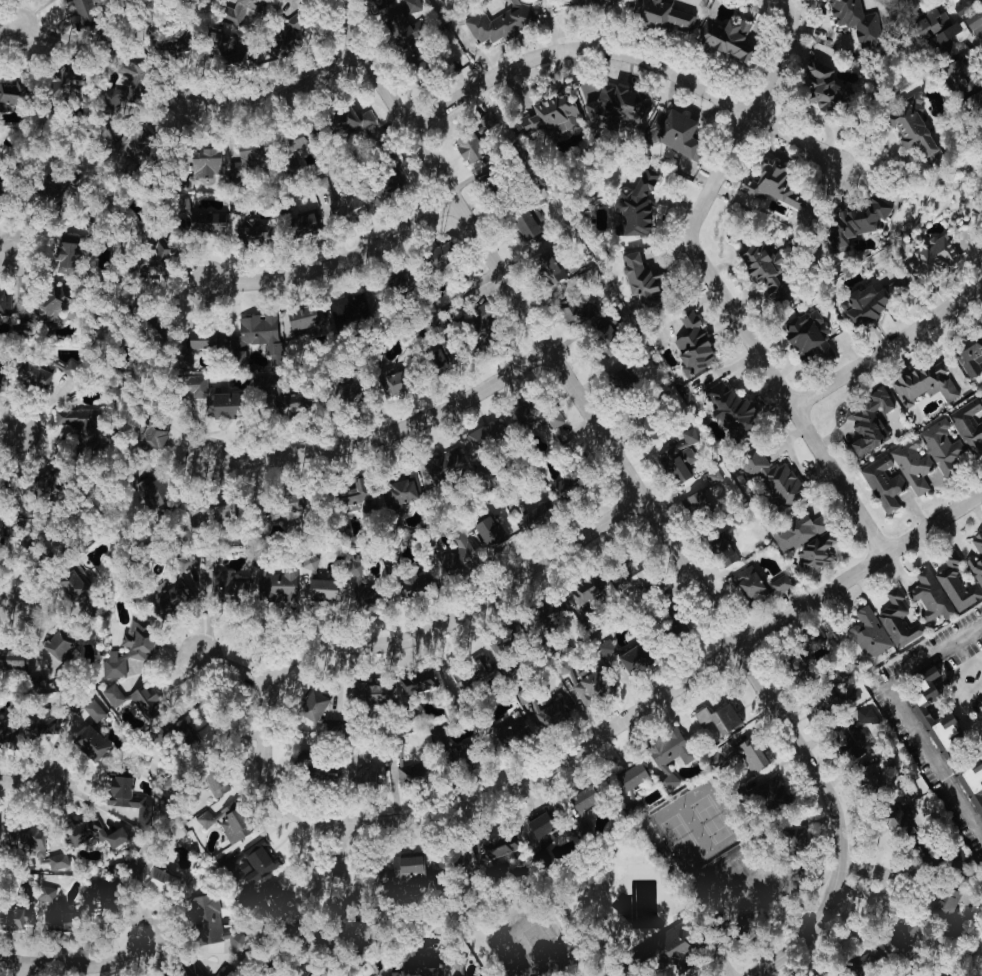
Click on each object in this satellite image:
building: (383, 2)
building: (964, 6)
building: (81, 8)
road: (828, 13)
building: (664, 14)
road: (10, 19)
building: (857, 19)
building: (405, 21)
building: (502, 21)
building: (930, 22)
building: (233, 23)
building: (975, 24)
building: (288, 33)
building: (727, 38)
road: (837, 38)
building: (946, 39)
road: (512, 44)
road: (476, 47)
building: (128, 67)
road: (688, 73)
building: (966, 87)
road: (277, 91)
building: (832, 91)
building: (12, 93)
building: (123, 93)
building: (618, 106)
building: (490, 122)
building: (354, 123)
building: (981, 125)
building: (910, 127)
building: (676, 132)
building: (980, 136)
building: (134, 143)
building: (469, 146)
building: (249, 153)
building: (206, 162)
building: (768, 189)
building: (337, 199)
building: (637, 204)
building: (530, 215)
building: (198, 218)
building: (306, 222)
building: (854, 224)
building: (256, 230)
road: (9, 250)
building: (159, 252)
building: (441, 255)
building: (68, 257)
building: (929, 260)
building: (548, 266)
road: (334, 267)
building: (640, 277)
building: (768, 280)
road: (714, 283)
building: (51, 300)
building: (5, 301)
building: (865, 304)
building: (347, 309)
building: (577, 312)
building: (306, 316)
building: (262, 331)
building: (806, 337)
building: (200, 338)
road: (886, 345)
building: (691, 348)
building: (968, 352)
building: (237, 356)
building: (434, 358)
building: (38, 377)
building: (1, 380)
building: (924, 383)
building: (211, 395)
building: (980, 397)
building: (555, 418)
building: (867, 420)
building: (79, 425)
road: (10, 427)
building: (968, 429)
building: (643, 430)
building: (154, 435)
road: (385, 435)
building: (484, 436)
building: (738, 446)
building: (940, 448)
building: (677, 458)
building: (447, 465)
building: (911, 465)
building: (711, 477)
building: (881, 484)
building: (567, 488)
building: (7, 489)
road: (635, 490)
building: (164, 494)
building: (382, 494)
building: (696, 501)
building: (291, 505)
building: (533, 513)
building: (490, 530)
building: (803, 542)
building: (465, 546)
building: (975, 559)
building: (274, 583)
building: (955, 583)
building: (68, 589)
building: (759, 589)
building: (318, 590)
building: (586, 590)
building: (928, 596)
building: (170, 599)
road: (8, 605)
road: (460, 614)
building: (896, 620)
building: (867, 634)
road: (963, 652)
road: (933, 654)
building: (120, 655)
building: (632, 660)
road: (239, 674)
road: (953, 679)
building: (581, 682)
building: (419, 684)
building: (368, 693)
building: (111, 696)
building: (144, 701)
building: (823, 702)
building: (309, 707)
building: (922, 707)
building: (553, 710)
building: (93, 715)
building: (714, 723)
building: (510, 732)
building: (852, 734)
road: (602, 735)
building: (4, 736)
building: (88, 745)
building: (443, 750)
building: (666, 754)
building: (742, 755)
road: (933, 762)
building: (411, 771)
building: (364, 775)
building: (629, 777)
building: (974, 778)
road: (27, 783)
building: (215, 785)
building: (125, 795)
building: (888, 796)
building: (225, 822)
building: (581, 831)
building: (88, 832)
building: (1, 834)
road: (328, 835)
building: (26, 845)
building: (508, 845)
road: (326, 850)
building: (256, 860)
building: (55, 861)
building: (407, 870)
road: (861, 881)
building: (270, 889)
building: (96, 894)
building: (50, 912)
building: (903, 937)
road: (78, 958)
building: (426, 966)
road: (22, 968)
building: (184, 969)
building: (223, 972)
building: (942, 974)

